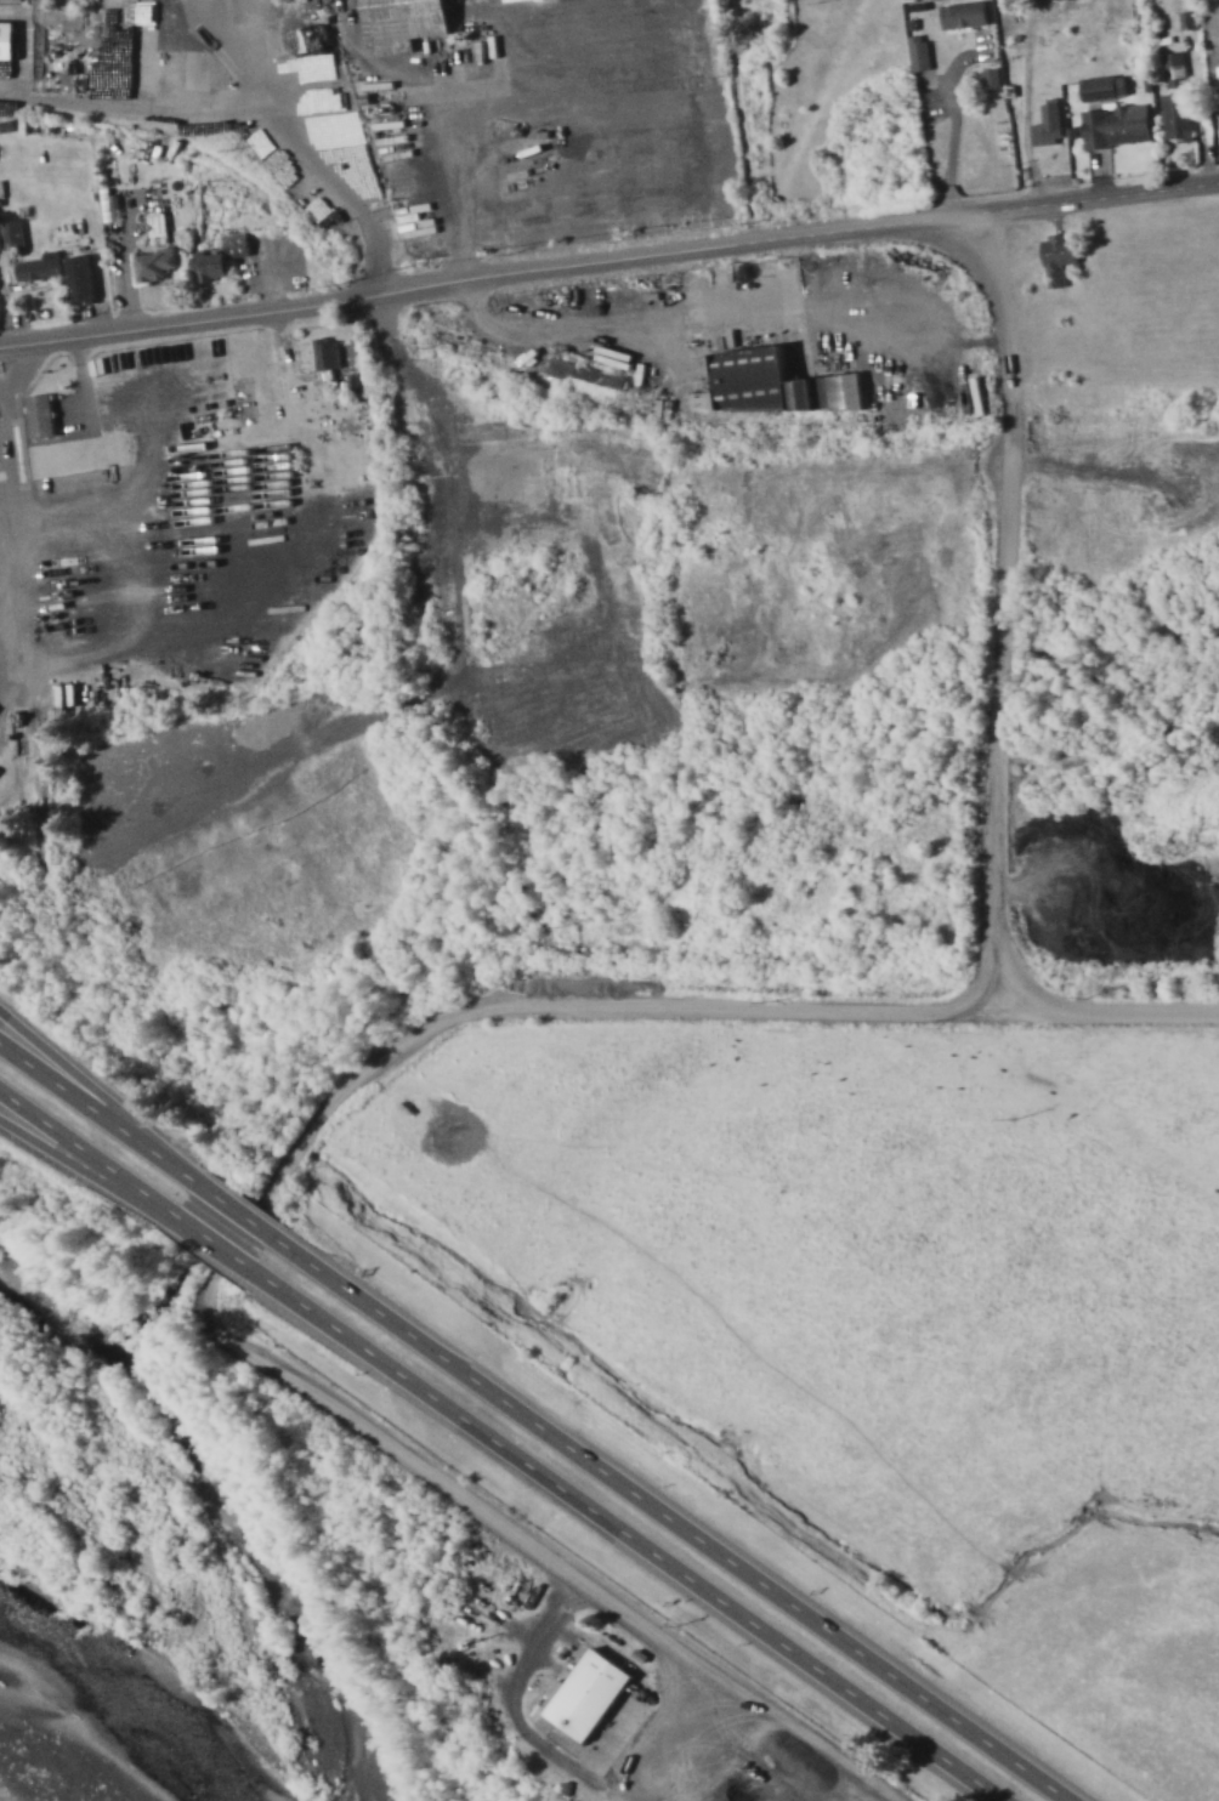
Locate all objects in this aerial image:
building: (130, 12)
building: (964, 13)
building: (1179, 19)
building: (402, 23)
building: (5, 41)
building: (919, 51)
building: (131, 53)
building: (183, 64)
building: (1175, 68)
building: (302, 69)
building: (991, 76)
building: (1104, 86)
building: (308, 103)
building: (1177, 114)
building: (1048, 123)
building: (1116, 125)
building: (1, 188)
building: (0, 208)
building: (324, 209)
building: (11, 233)
building: (262, 242)
building: (285, 249)
building: (219, 257)
building: (1058, 257)
road: (608, 261)
building: (155, 263)
building: (39, 267)
building: (79, 278)
building: (327, 353)
building: (586, 373)
building: (769, 384)
railway: (576, 398)
building: (40, 415)
road: (1003, 672)
road: (97, 1097)
road: (96, 1115)
road: (86, 1151)
road: (86, 1166)
road: (234, 1209)
road: (249, 1223)
road: (211, 1242)
road: (670, 1518)
road: (629, 1535)
building: (588, 1693)

